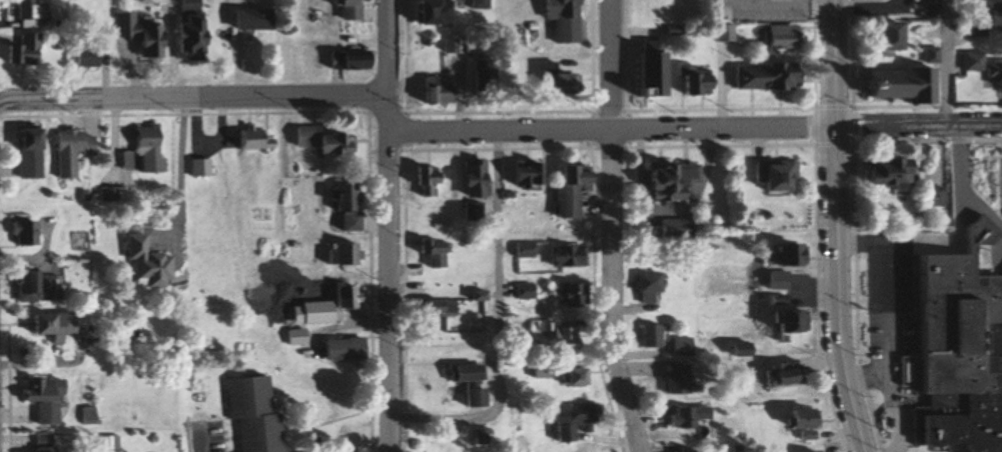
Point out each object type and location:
building: (476, 4)
building: (343, 9)
building: (424, 12)
park: (663, 12)
building: (35, 14)
building: (557, 19)
building: (259, 20)
building: (983, 21)
building: (196, 30)
building: (720, 33)
building: (144, 34)
building: (778, 37)
building: (880, 38)
building: (31, 50)
building: (92, 57)
building: (342, 60)
road: (944, 66)
building: (642, 69)
building: (763, 77)
building: (549, 80)
building: (689, 81)
building: (993, 81)
building: (472, 84)
building: (894, 86)
building: (431, 95)
road: (192, 96)
road: (609, 129)
road: (916, 130)
building: (258, 139)
building: (318, 140)
building: (152, 151)
building: (79, 152)
building: (38, 154)
building: (205, 167)
building: (519, 172)
building: (882, 173)
road: (183, 174)
building: (770, 174)
building: (464, 176)
building: (661, 178)
building: (421, 179)
building: (564, 187)
building: (340, 203)
building: (466, 210)
road: (387, 225)
road: (613, 227)
building: (665, 227)
road: (835, 227)
building: (23, 232)
building: (427, 251)
building: (338, 252)
building: (783, 253)
building: (558, 255)
building: (145, 264)
building: (774, 280)
building: (31, 283)
building: (642, 287)
building: (517, 291)
building: (559, 293)
building: (341, 295)
building: (472, 295)
building: (773, 300)
road: (887, 304)
building: (434, 307)
road: (495, 319)
building: (785, 319)
building: (47, 323)
building: (290, 335)
building: (647, 335)
building: (554, 336)
building: (681, 346)
building: (336, 347)
building: (954, 360)
building: (536, 370)
building: (776, 373)
building: (567, 376)
building: (672, 378)
building: (462, 382)
building: (36, 398)
building: (246, 413)
building: (683, 415)
building: (795, 417)
building: (569, 420)
building: (40, 442)
building: (687, 451)

